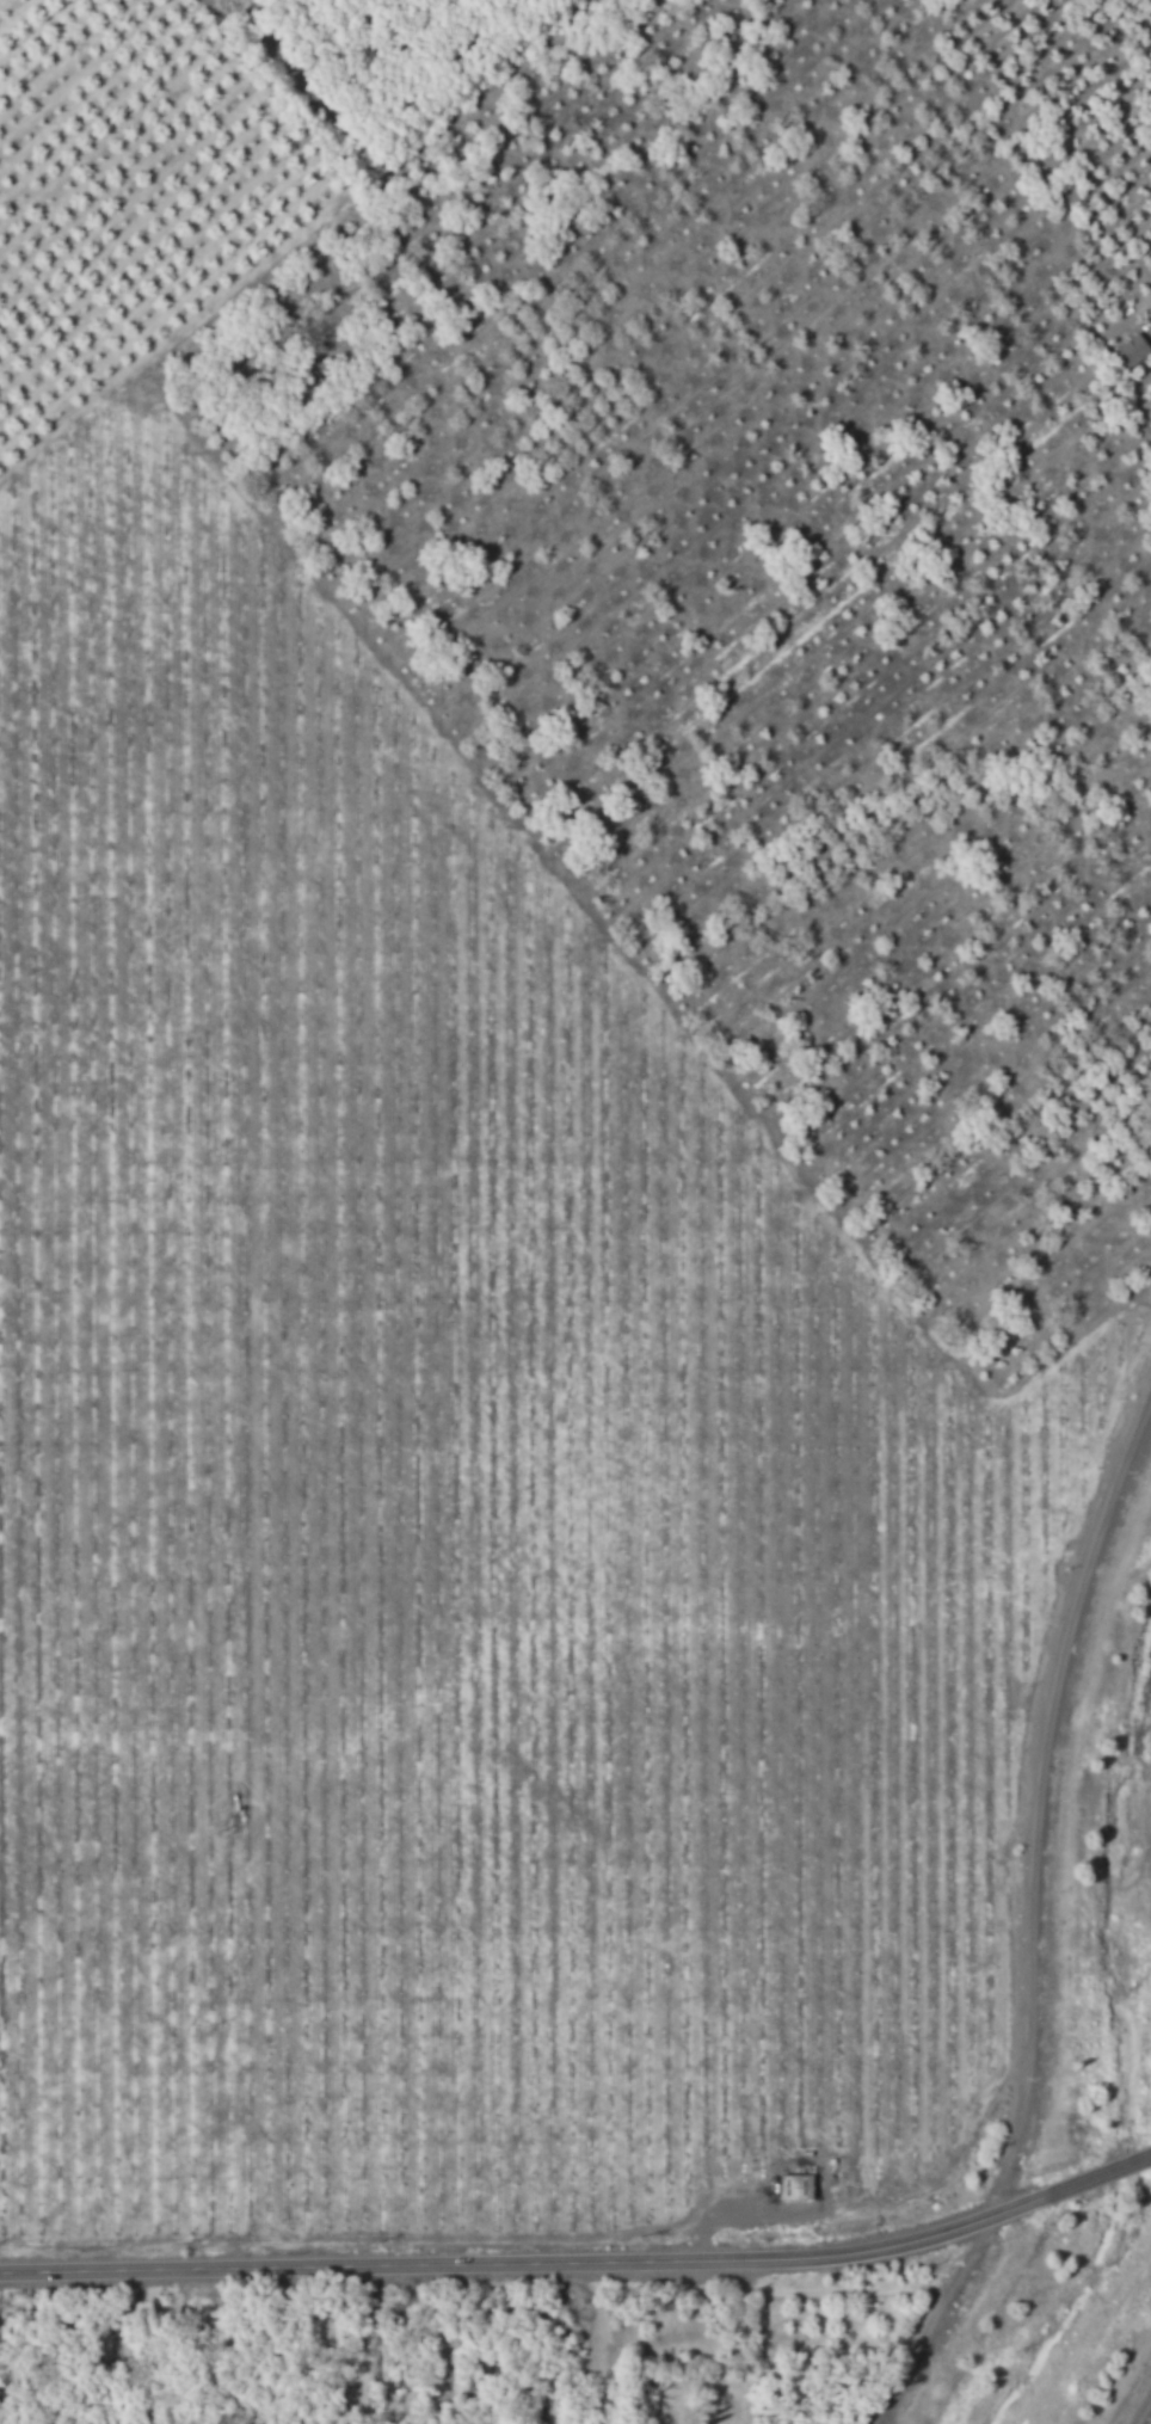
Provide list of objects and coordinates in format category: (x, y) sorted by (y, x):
building: (1131, 352)
road: (1029, 1917)
road: (1095, 2170)
building: (796, 2186)
road: (523, 2258)
road: (1140, 2406)

